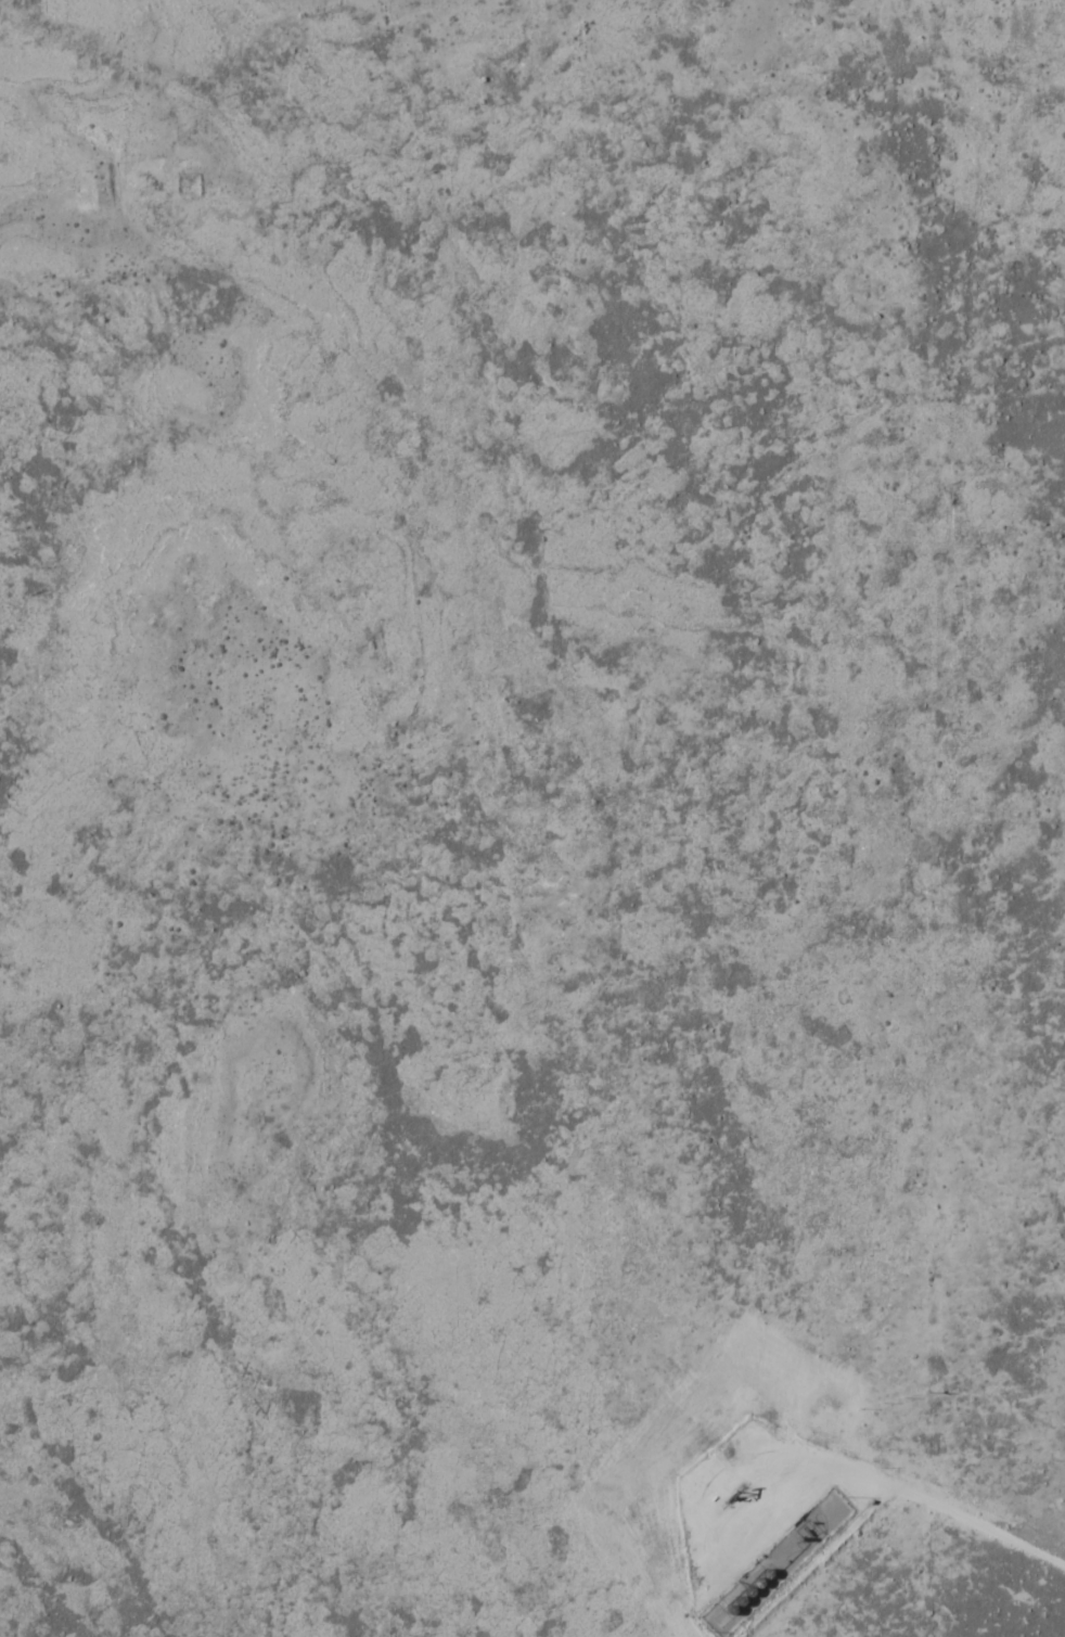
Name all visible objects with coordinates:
road: (921, 1507)

